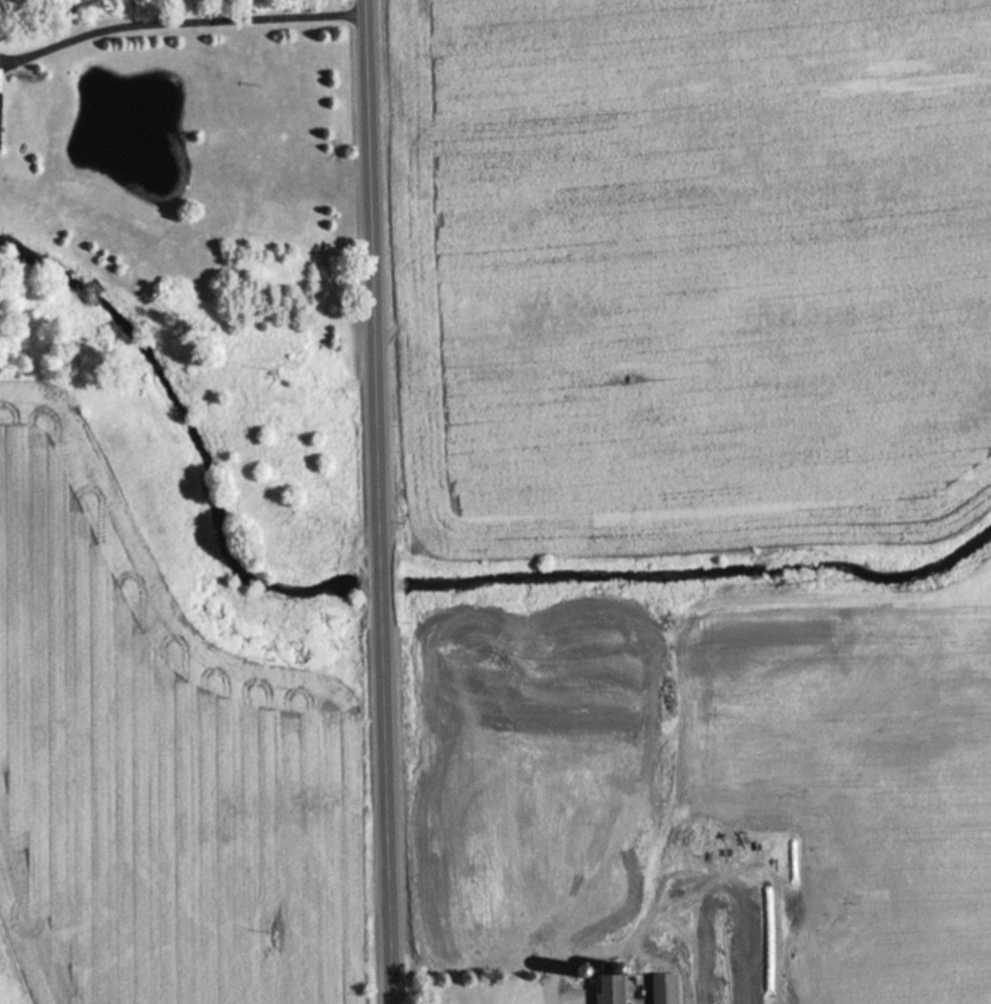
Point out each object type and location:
road: (379, 501)
building: (607, 988)
building: (662, 988)

